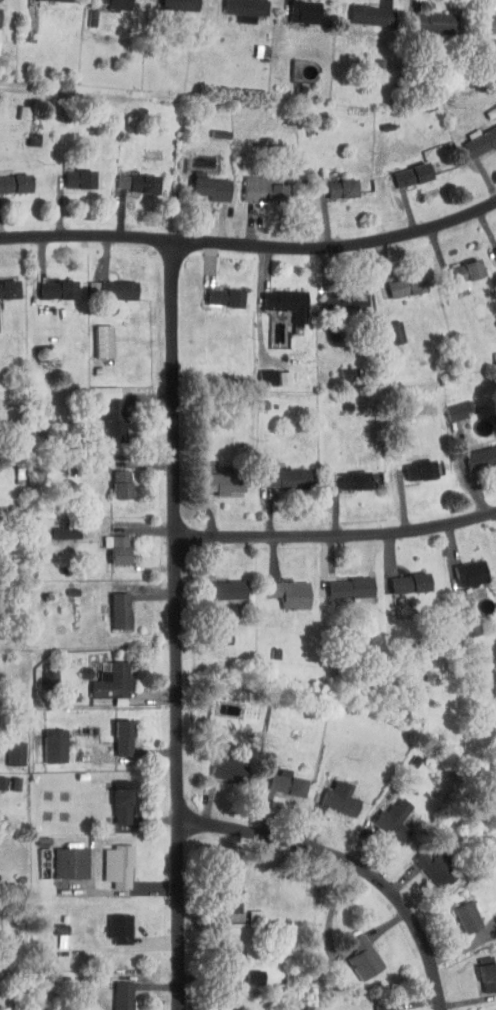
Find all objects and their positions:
building: (110, 2)
building: (171, 2)
building: (237, 6)
building: (295, 8)
building: (363, 9)
building: (426, 16)
building: (488, 18)
building: (211, 128)
building: (476, 135)
building: (403, 169)
building: (70, 173)
building: (10, 177)
building: (129, 177)
building: (203, 181)
building: (333, 183)
building: (254, 184)
road: (250, 245)
building: (491, 246)
building: (457, 267)
building: (397, 280)
building: (4, 283)
building: (48, 283)
building: (110, 284)
building: (216, 291)
building: (337, 293)
building: (278, 297)
building: (385, 326)
building: (95, 335)
building: (338, 368)
building: (258, 371)
building: (275, 372)
building: (450, 404)
building: (102, 405)
building: (476, 452)
building: (411, 464)
building: (278, 472)
building: (346, 474)
building: (214, 477)
building: (112, 478)
road: (337, 538)
building: (108, 542)
building: (461, 567)
building: (401, 577)
building: (342, 582)
building: (216, 584)
building: (281, 588)
building: (111, 605)
building: (457, 620)
road: (176, 624)
building: (213, 633)
building: (41, 671)
building: (103, 677)
building: (115, 732)
building: (46, 740)
building: (7, 748)
building: (221, 764)
building: (7, 778)
building: (278, 778)
building: (331, 793)
building: (113, 796)
building: (385, 815)
building: (62, 857)
building: (422, 858)
building: (110, 860)
road: (351, 865)
building: (223, 885)
building: (459, 911)
building: (111, 922)
building: (354, 952)
building: (480, 968)
building: (245, 971)
building: (114, 992)
building: (376, 1003)
building: (218, 1008)

